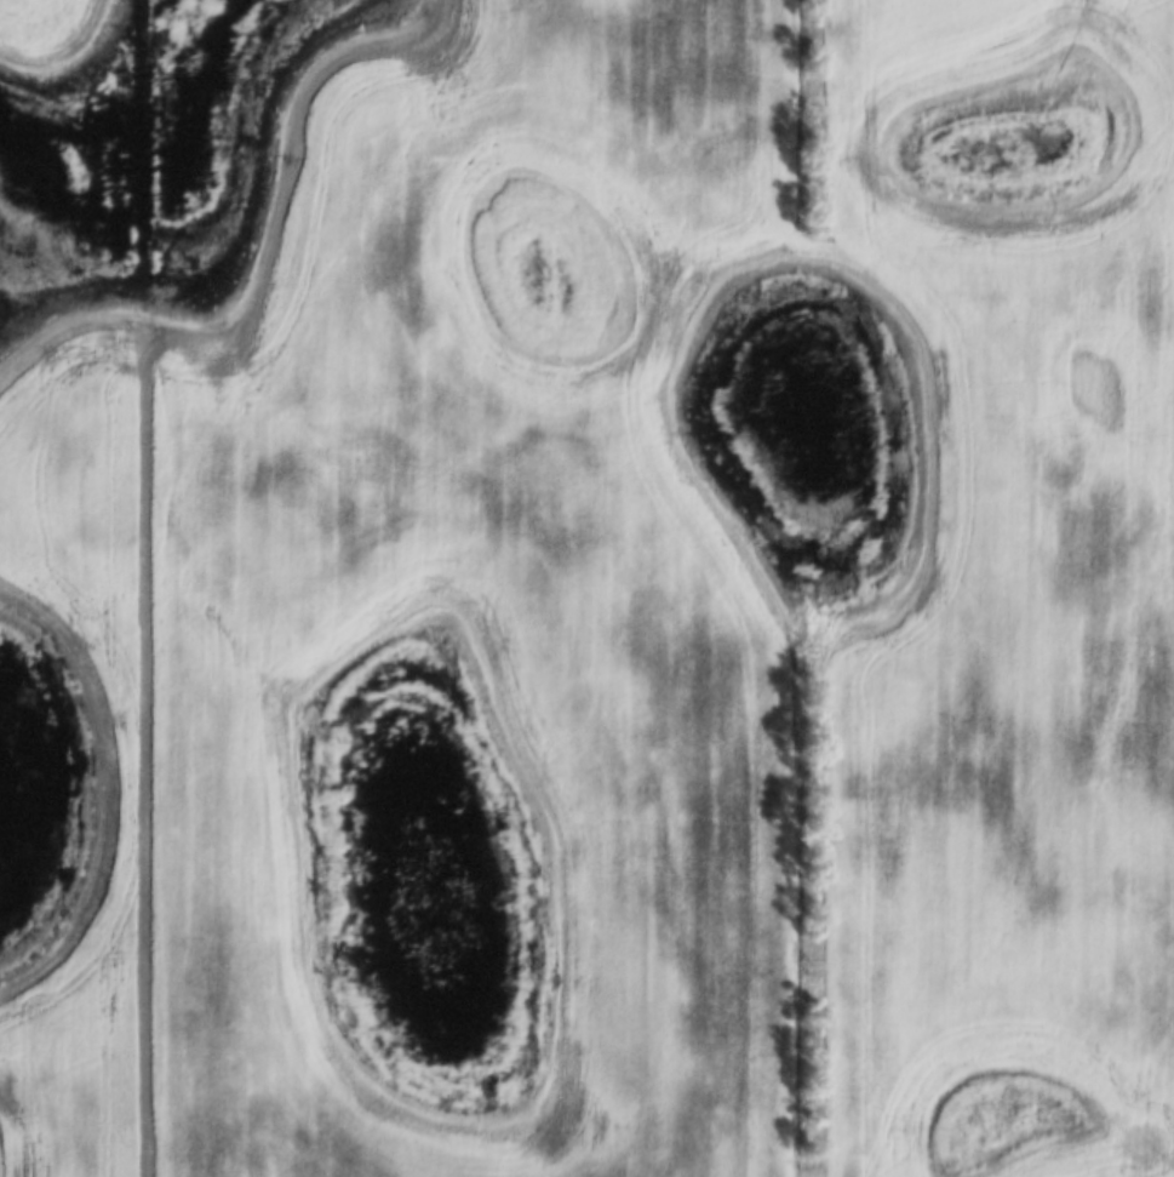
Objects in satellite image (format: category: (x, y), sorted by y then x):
road: (171, 536)

